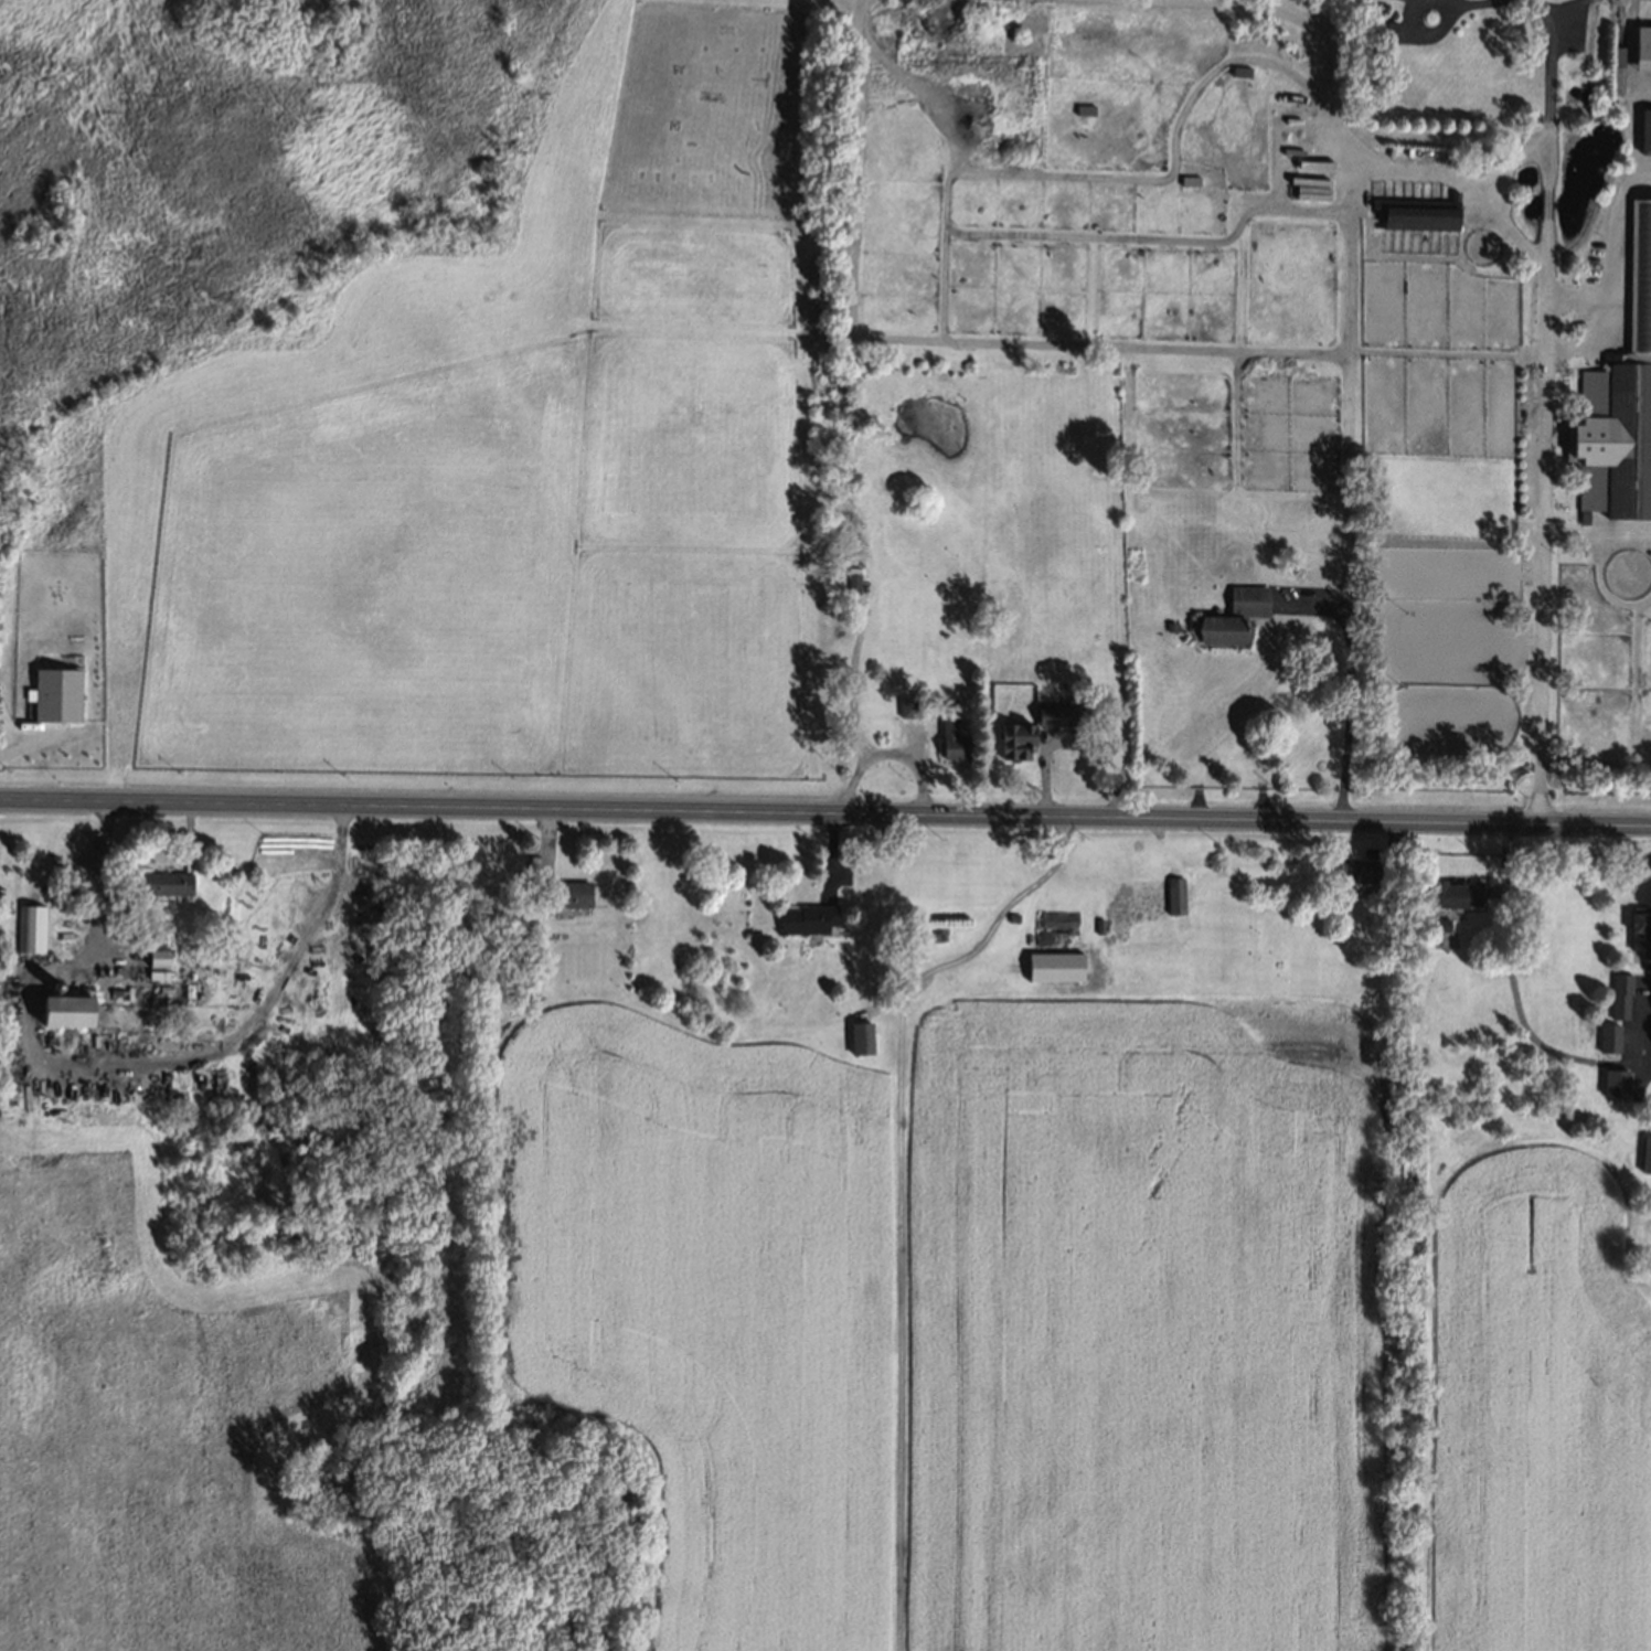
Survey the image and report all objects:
building: (1396, 0)
building: (1404, 0)
road: (1455, 1)
road: (1474, 1)
road: (1546, 4)
road: (1574, 4)
road: (1291, 7)
building: (1382, 31)
road: (1430, 32)
building: (1641, 49)
building: (1239, 73)
building: (1615, 79)
building: (1083, 110)
road: (1179, 123)
building: (1644, 135)
road: (1355, 180)
building: (1417, 212)
building: (1260, 221)
road: (1505, 224)
road: (1229, 234)
road: (1612, 259)
road: (1593, 340)
road: (1297, 344)
building: (1622, 401)
road: (1543, 417)
road: (1596, 541)
building: (852, 582)
road: (1312, 597)
building: (1234, 614)
building: (1169, 624)
building: (58, 695)
building: (910, 706)
building: (1055, 714)
building: (952, 738)
building: (1014, 738)
road: (824, 816)
building: (1359, 872)
building: (167, 884)
building: (1460, 891)
building: (573, 894)
building: (1176, 896)
building: (810, 919)
building: (1640, 926)
building: (33, 929)
road: (992, 930)
building: (1445, 935)
building: (1062, 936)
building: (160, 958)
building: (1056, 967)
building: (159, 976)
building: (68, 1011)
building: (1625, 1026)
building: (862, 1038)
road: (121, 1065)
building: (1645, 1150)

